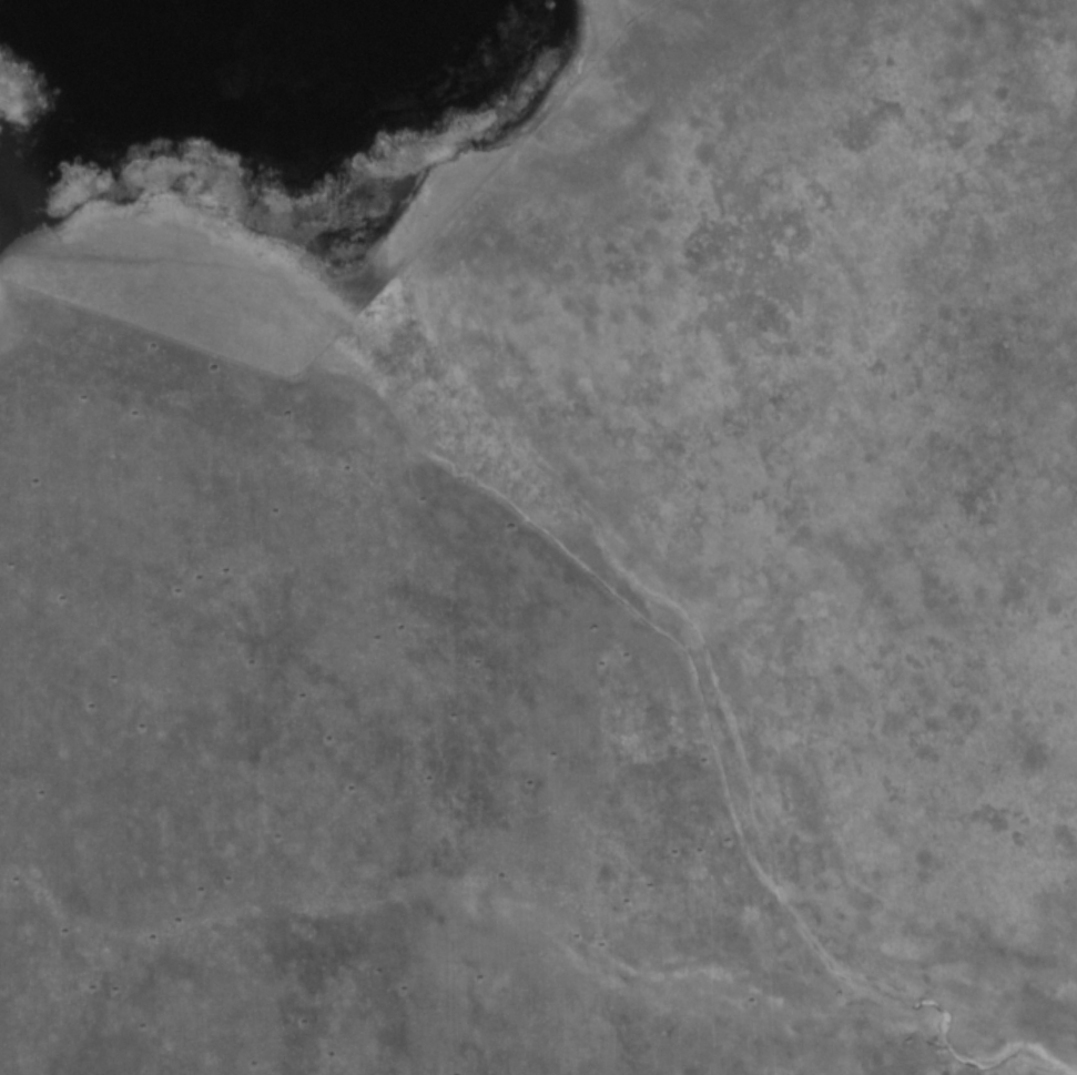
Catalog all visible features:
dam: (616, 6)

